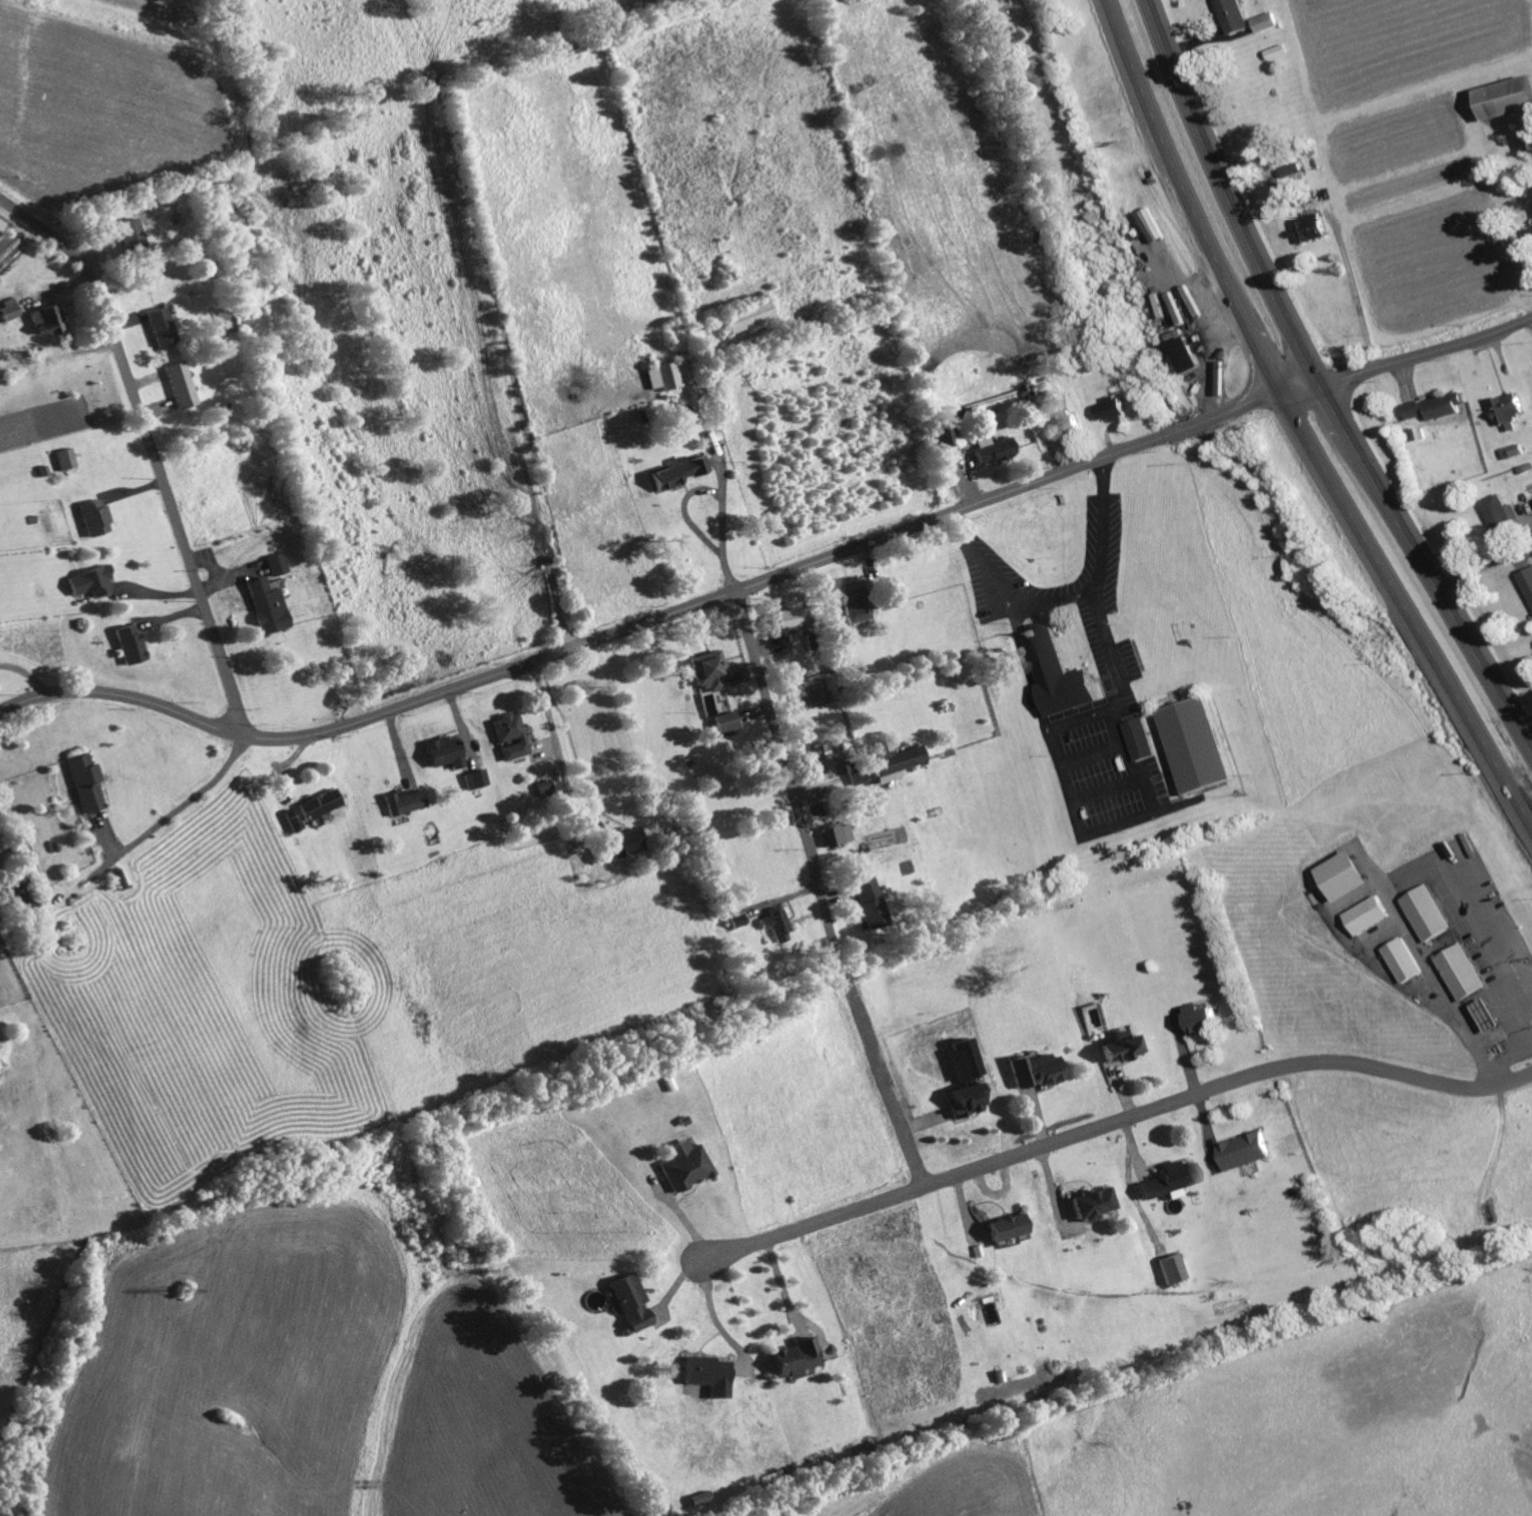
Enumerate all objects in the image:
building: (1236, 16)
building: (1269, 23)
building: (1508, 99)
building: (1528, 139)
building: (1296, 170)
building: (1531, 193)
building: (1315, 229)
building: (131, 235)
building: (10, 311)
building: (749, 317)
building: (49, 320)
building: (162, 327)
building: (1190, 356)
road: (1410, 359)
building: (668, 376)
road: (1320, 382)
building: (181, 385)
building: (1437, 408)
building: (1113, 410)
building: (1510, 412)
road: (1301, 420)
building: (1067, 428)
road: (152, 445)
building: (995, 450)
building: (1514, 452)
building: (67, 459)
building: (679, 472)
road: (711, 491)
building: (1500, 514)
building: (96, 518)
building: (276, 565)
building: (93, 582)
building: (1528, 582)
road: (1062, 601)
building: (857, 602)
building: (267, 607)
road: (648, 620)
building: (784, 620)
building: (130, 645)
building: (710, 671)
building: (739, 675)
building: (1062, 678)
building: (727, 723)
building: (511, 736)
building: (1142, 741)
building: (1201, 747)
building: (446, 753)
road: (558, 756)
building: (824, 756)
road: (785, 758)
building: (894, 762)
building: (477, 780)
building: (86, 783)
building: (547, 789)
road: (187, 800)
building: (406, 802)
building: (321, 805)
building: (835, 835)
building: (628, 844)
building: (1347, 877)
building: (119, 879)
building: (18, 896)
building: (870, 904)
building: (1430, 915)
building: (1368, 917)
building: (738, 921)
building: (776, 924)
road: (826, 958)
building: (1404, 962)
building: (1465, 973)
road: (1456, 1017)
building: (1490, 1017)
building: (1206, 1021)
building: (1122, 1048)
road: (1507, 1056)
building: (964, 1062)
building: (1037, 1072)
road: (885, 1082)
building: (967, 1101)
road: (1111, 1120)
building: (1247, 1153)
building: (687, 1167)
building: (1171, 1181)
building: (1094, 1204)
building: (1009, 1228)
building: (1175, 1270)
building: (633, 1303)
building: (795, 1359)
building: (710, 1376)
building: (702, 1499)

